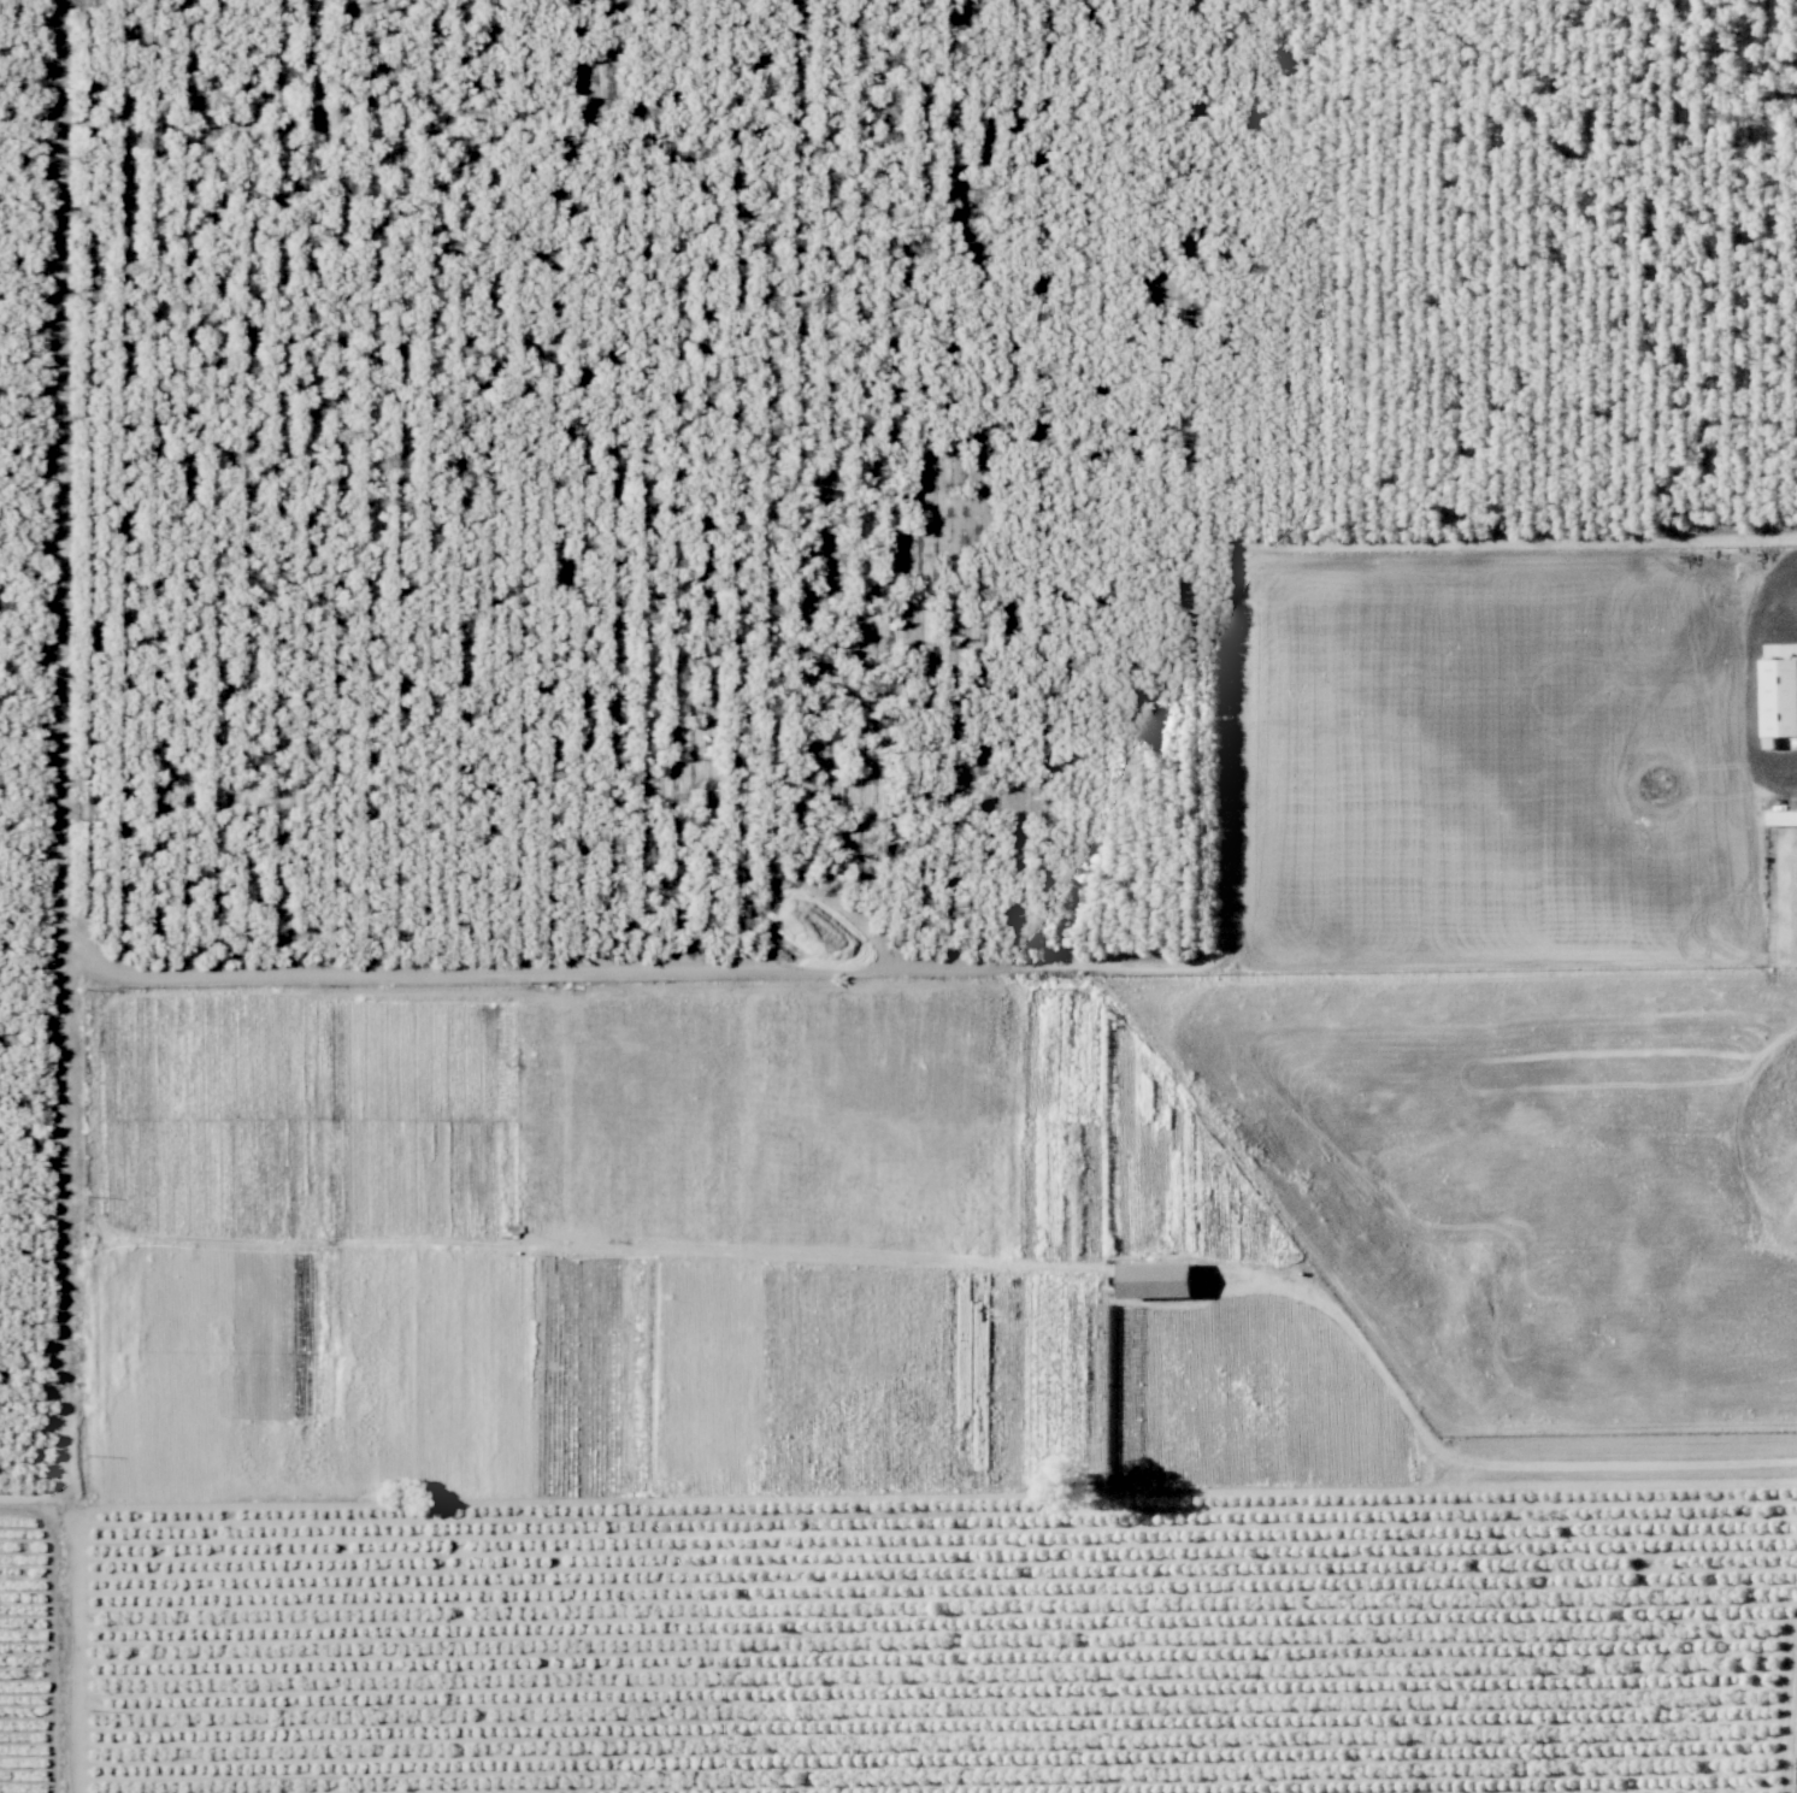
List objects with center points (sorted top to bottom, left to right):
road: (1791, 596)
building: (1779, 700)
building: (1783, 818)
building: (1159, 1280)

